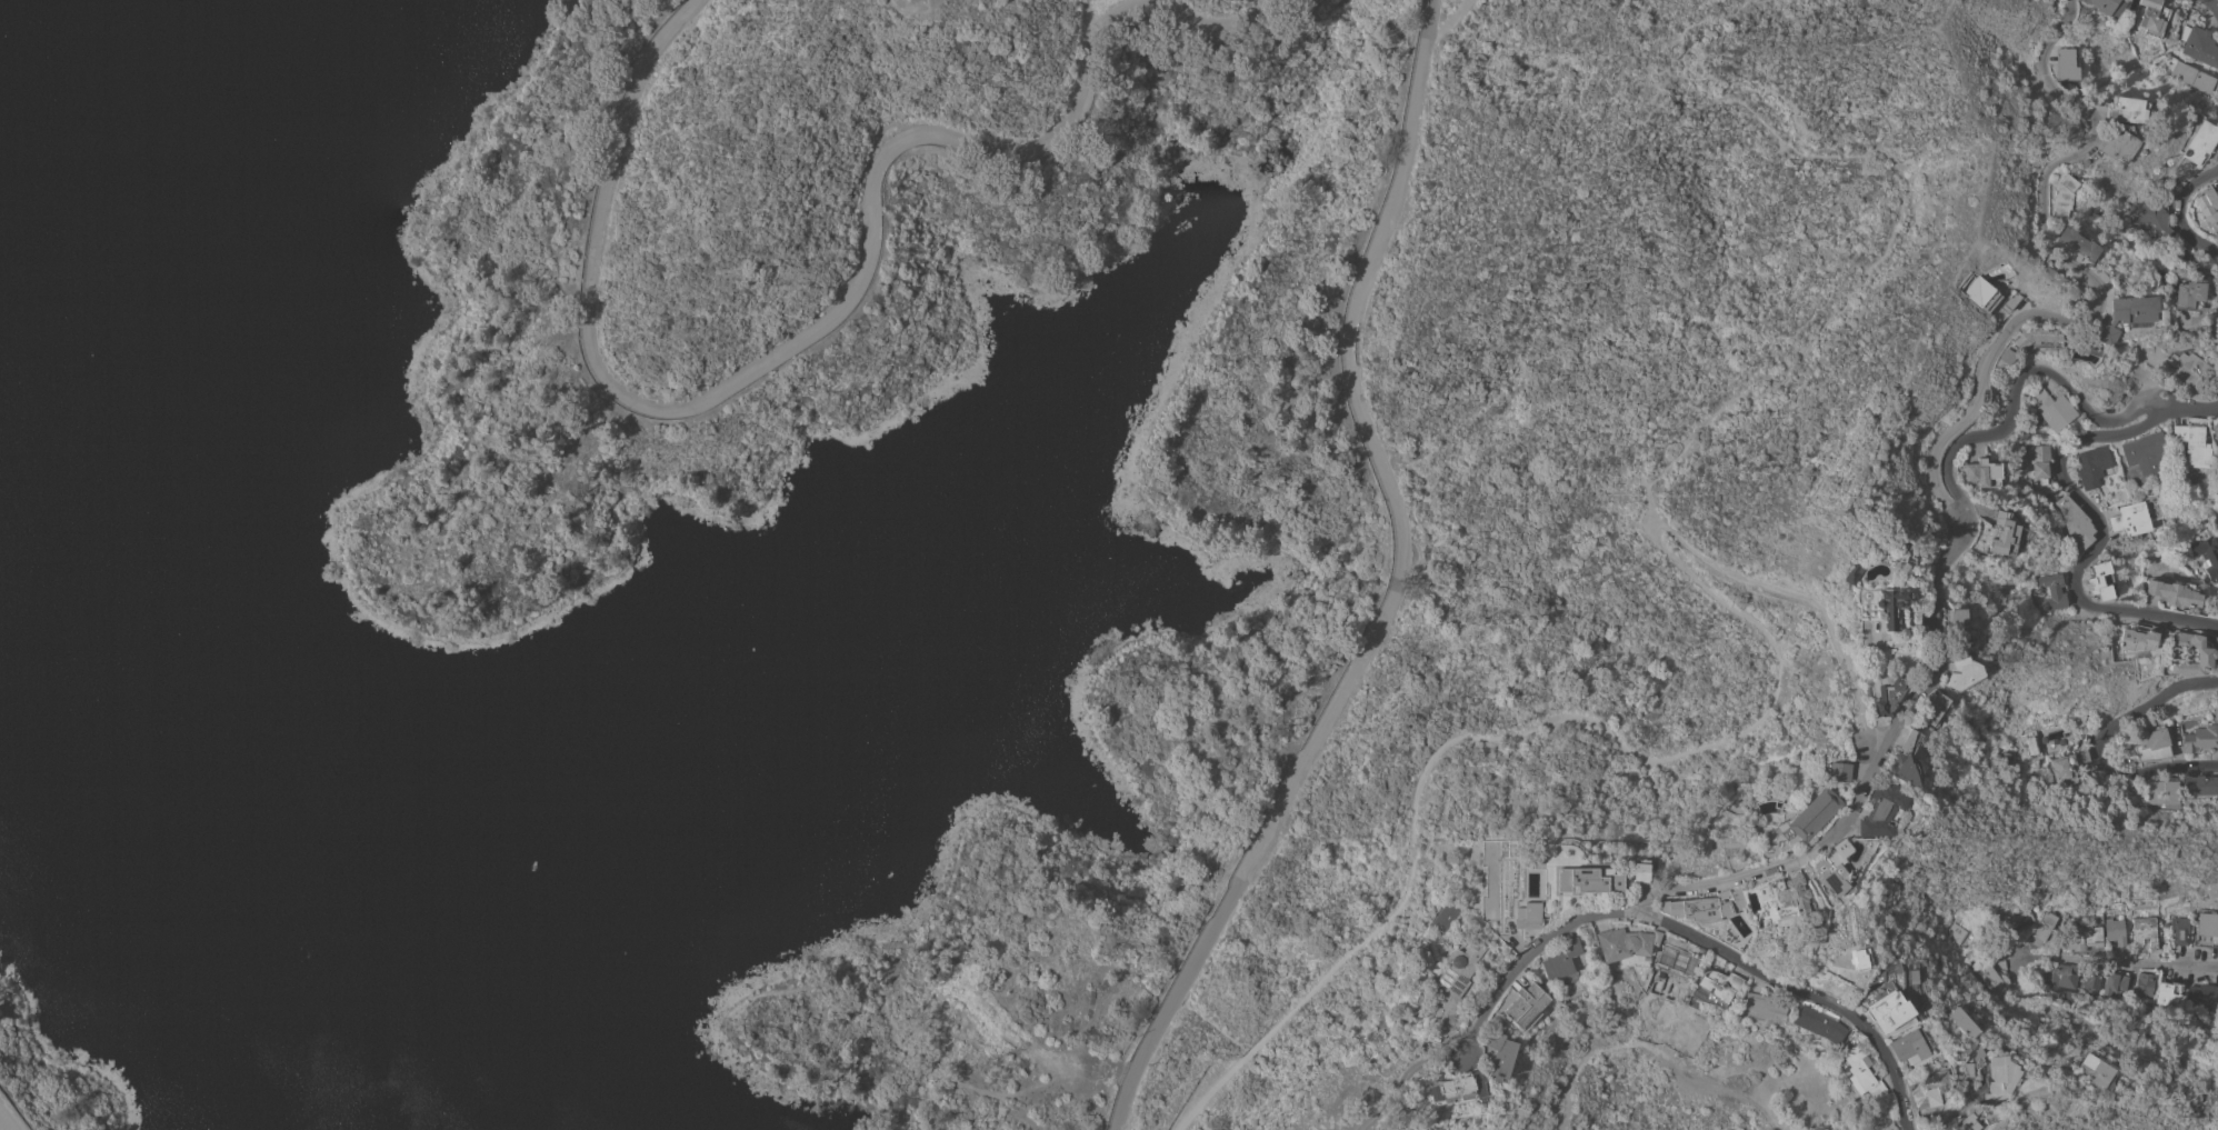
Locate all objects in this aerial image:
road: (2214, 3)
building: (2107, 7)
building: (2154, 18)
building: (2199, 44)
building: (2067, 63)
building: (2192, 77)
building: (2127, 110)
building: (2200, 142)
building: (2118, 144)
building: (2061, 193)
road: (1899, 202)
building: (2208, 210)
road: (2182, 211)
building: (2151, 216)
building: (2077, 243)
road: (2087, 278)
building: (1978, 293)
building: (2187, 296)
building: (2125, 316)
road: (827, 317)
building: (2037, 338)
building: (2005, 356)
building: (2186, 368)
building: (2212, 389)
road: (2016, 393)
building: (2050, 407)
road: (2189, 409)
building: (2215, 432)
building: (2190, 444)
building: (2147, 452)
building: (2040, 462)
building: (2094, 464)
building: (1985, 472)
building: (2131, 519)
building: (2075, 522)
building: (2002, 534)
road: (2100, 538)
building: (1902, 546)
building: (2208, 556)
building: (1851, 574)
building: (2102, 581)
road: (1393, 589)
building: (2052, 592)
building: (2175, 592)
road: (1804, 596)
building: (1888, 606)
building: (1955, 624)
building: (2136, 638)
building: (2112, 651)
building: (2189, 654)
building: (1959, 672)
building: (1886, 697)
building: (1932, 709)
building: (2079, 720)
road: (1500, 736)
building: (2201, 739)
building: (2031, 743)
road: (2098, 743)
building: (2152, 744)
building: (1904, 761)
building: (2066, 768)
building: (1836, 771)
road: (1861, 782)
building: (2200, 786)
building: (2161, 792)
building: (1877, 810)
building: (1809, 814)
building: (1538, 856)
building: (1831, 871)
building: (1641, 872)
building: (1587, 881)
building: (1789, 891)
building: (2032, 907)
building: (1528, 916)
building: (1715, 916)
building: (1446, 917)
building: (2010, 920)
building: (1961, 924)
building: (2045, 926)
building: (2179, 930)
building: (2207, 930)
building: (2115, 931)
building: (2145, 932)
building: (2080, 937)
building: (2006, 942)
building: (1625, 943)
building: (1999, 951)
road: (1526, 954)
building: (1561, 959)
road: (2090, 959)
road: (2200, 964)
building: (2068, 976)
building: (1989, 977)
building: (2091, 978)
building: (1456, 982)
building: (2147, 982)
building: (2115, 983)
building: (1717, 988)
road: (1801, 989)
building: (2169, 996)
building: (2202, 996)
building: (1761, 1006)
building: (1526, 1007)
building: (1886, 1011)
building: (1960, 1022)
building: (1817, 1023)
building: (1907, 1046)
road: (1653, 1048)
building: (1971, 1053)
building: (1500, 1056)
building: (1962, 1069)
building: (1857, 1070)
building: (2095, 1071)
road: (1400, 1077)
building: (1999, 1078)
building: (1458, 1087)
building: (1924, 1088)
road: (1961, 1101)
building: (1876, 1116)
building: (1966, 1121)
road: (3, 1124)

